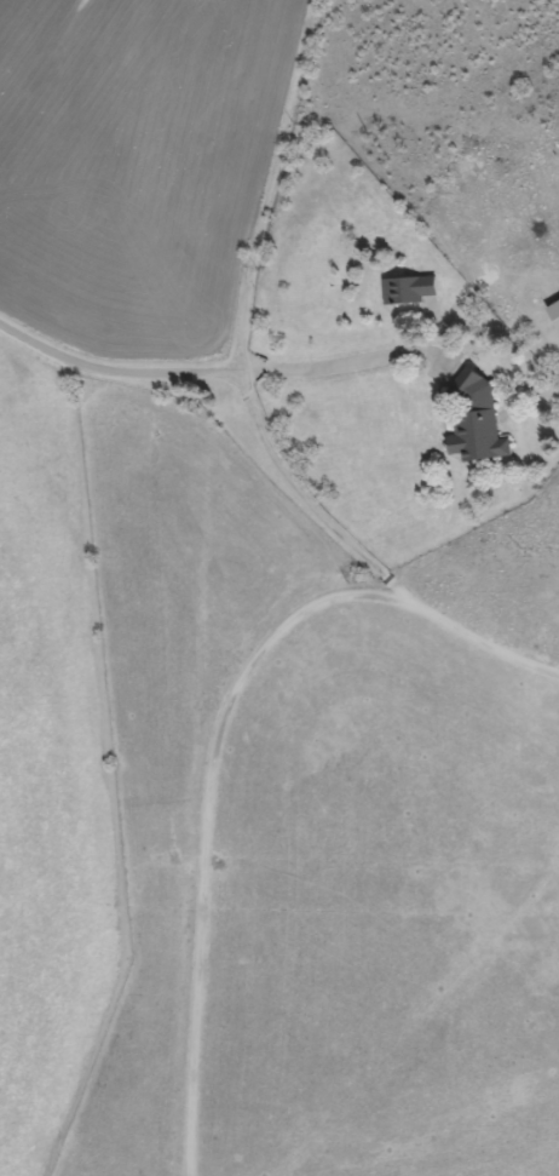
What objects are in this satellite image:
road: (282, 132)
building: (408, 288)
building: (554, 311)
road: (229, 369)
building: (477, 419)
road: (270, 440)
road: (404, 591)
road: (220, 739)

